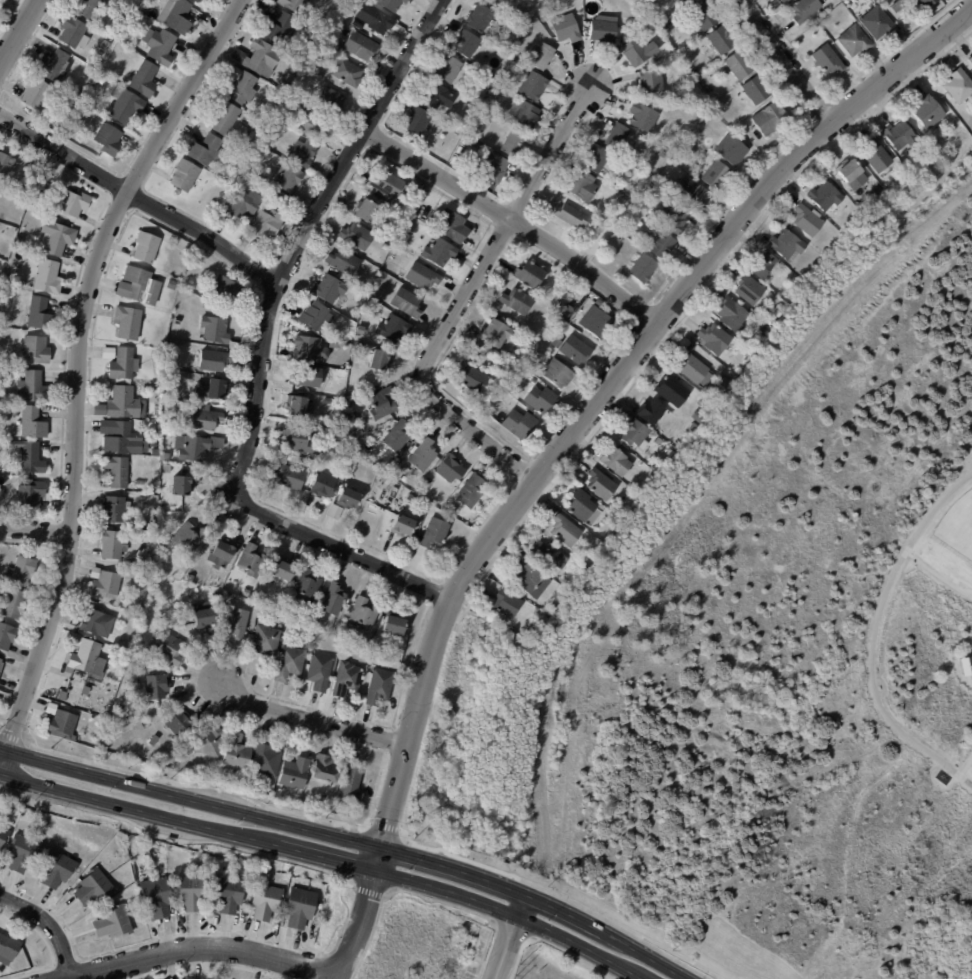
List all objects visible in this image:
building: (196, 1)
building: (783, 1)
building: (685, 2)
building: (494, 3)
building: (391, 4)
building: (924, 4)
building: (293, 5)
building: (87, 8)
building: (806, 11)
building: (661, 17)
building: (705, 17)
building: (178, 18)
building: (479, 19)
building: (377, 20)
building: (878, 23)
building: (824, 24)
building: (358, 27)
road: (17, 29)
building: (280, 29)
building: (566, 29)
building: (818, 29)
building: (603, 30)
building: (72, 33)
building: (123, 40)
building: (314, 40)
building: (722, 40)
building: (854, 41)
building: (466, 44)
building: (674, 45)
building: (104, 46)
building: (160, 46)
building: (361, 47)
building: (337, 49)
building: (638, 51)
building: (542, 57)
building: (258, 58)
building: (970, 60)
road: (784, 61)
building: (828, 62)
building: (512, 65)
building: (738, 65)
building: (53, 66)
building: (449, 70)
building: (348, 73)
building: (696, 73)
building: (289, 78)
building: (144, 80)
building: (651, 84)
building: (84, 86)
building: (533, 86)
building: (959, 86)
building: (240, 87)
building: (757, 90)
building: (35, 94)
building: (493, 95)
building: (437, 96)
building: (488, 100)
building: (331, 102)
building: (125, 106)
building: (927, 111)
building: (224, 118)
building: (529, 118)
building: (770, 118)
building: (643, 120)
building: (704, 120)
building: (417, 122)
building: (313, 125)
building: (899, 135)
building: (704, 136)
building: (619, 138)
building: (108, 140)
building: (250, 142)
building: (512, 143)
building: (204, 151)
building: (732, 152)
building: (303, 154)
building: (662, 154)
building: (878, 156)
building: (931, 156)
building: (597, 159)
building: (914, 162)
building: (6, 164)
building: (626, 168)
building: (233, 169)
building: (495, 169)
building: (849, 172)
building: (715, 175)
building: (184, 176)
building: (287, 179)
building: (415, 182)
building: (388, 184)
building: (583, 187)
building: (878, 193)
building: (40, 194)
building: (695, 194)
building: (274, 196)
building: (827, 197)
road: (137, 198)
building: (73, 202)
building: (641, 204)
building: (244, 205)
building: (363, 210)
building: (565, 211)
building: (659, 219)
building: (809, 220)
road: (516, 222)
building: (680, 222)
building: (267, 225)
building: (453, 226)
building: (356, 236)
building: (58, 237)
building: (18, 241)
building: (661, 245)
building: (787, 245)
building: (146, 247)
building: (385, 247)
building: (440, 251)
building: (344, 262)
building: (763, 264)
building: (643, 271)
building: (530, 274)
building: (423, 276)
building: (47, 277)
building: (796, 280)
building: (0, 282)
building: (171, 284)
building: (139, 286)
building: (226, 288)
building: (329, 289)
building: (749, 289)
building: (562, 295)
building: (358, 297)
road: (463, 297)
building: (518, 301)
building: (407, 302)
building: (558, 302)
building: (599, 302)
building: (567, 307)
building: (777, 312)
building: (40, 314)
building: (731, 314)
building: (315, 317)
building: (128, 322)
building: (597, 323)
building: (393, 328)
building: (762, 328)
building: (215, 329)
building: (360, 330)
building: (494, 335)
building: (715, 339)
building: (556, 344)
road: (260, 346)
building: (693, 347)
building: (306, 348)
building: (36, 349)
building: (576, 350)
building: (331, 357)
building: (214, 360)
building: (381, 360)
building: (124, 364)
building: (169, 364)
road: (77, 367)
building: (695, 369)
building: (500, 370)
building: (557, 373)
building: (470, 376)
building: (306, 377)
building: (532, 381)
building: (724, 382)
road: (608, 385)
building: (33, 387)
building: (168, 387)
building: (213, 389)
building: (159, 390)
building: (672, 391)
building: (2, 393)
building: (357, 399)
building: (540, 399)
building: (511, 401)
building: (383, 403)
building: (705, 403)
building: (122, 404)
building: (300, 406)
building: (15, 412)
building: (651, 412)
building: (205, 417)
building: (699, 417)
building: (32, 423)
building: (520, 424)
building: (692, 427)
building: (636, 434)
building: (398, 436)
building: (121, 438)
building: (298, 438)
building: (684, 440)
building: (657, 442)
building: (196, 447)
building: (424, 454)
building: (29, 457)
building: (165, 457)
building: (293, 459)
building: (354, 461)
building: (672, 461)
building: (617, 462)
building: (380, 467)
building: (451, 469)
building: (118, 471)
building: (389, 471)
building: (289, 476)
building: (405, 479)
building: (601, 484)
building: (182, 485)
building: (324, 485)
building: (472, 490)
building: (1, 493)
building: (31, 494)
building: (400, 495)
building: (407, 497)
building: (347, 498)
building: (581, 505)
building: (115, 509)
park: (956, 524)
building: (401, 525)
building: (616, 526)
building: (151, 527)
road: (34, 529)
building: (566, 530)
building: (435, 533)
building: (189, 537)
building: (112, 545)
building: (597, 547)
building: (221, 553)
building: (547, 558)
building: (252, 561)
building: (150, 564)
building: (282, 570)
building: (22, 571)
building: (191, 577)
building: (527, 577)
building: (104, 583)
building: (306, 585)
building: (246, 592)
building: (226, 597)
building: (334, 600)
building: (507, 603)
building: (14, 604)
building: (141, 608)
building: (364, 614)
building: (202, 615)
building: (305, 618)
building: (93, 622)
building: (238, 623)
building: (395, 626)
building: (533, 628)
building: (6, 636)
building: (266, 640)
building: (370, 644)
building: (377, 647)
building: (171, 649)
park: (760, 650)
building: (86, 659)
building: (1, 662)
building: (290, 663)
building: (320, 672)
building: (347, 679)
building: (157, 686)
building: (380, 687)
building: (85, 691)
building: (62, 696)
building: (49, 708)
road: (311, 719)
building: (177, 723)
building: (62, 725)
building: (99, 737)
building: (153, 741)
building: (208, 742)
building: (235, 753)
building: (266, 761)
building: (325, 769)
building: (293, 773)
building: (352, 784)
road: (189, 800)
building: (4, 835)
building: (23, 852)
road: (325, 859)
building: (197, 866)
building: (57, 869)
building: (294, 882)
building: (94, 886)
building: (192, 891)
building: (229, 894)
building: (157, 896)
building: (265, 900)
road: (537, 900)
building: (300, 907)
road: (357, 913)
building: (113, 922)
road: (48, 926)
road: (508, 936)
road: (201, 948)
building: (7, 949)

